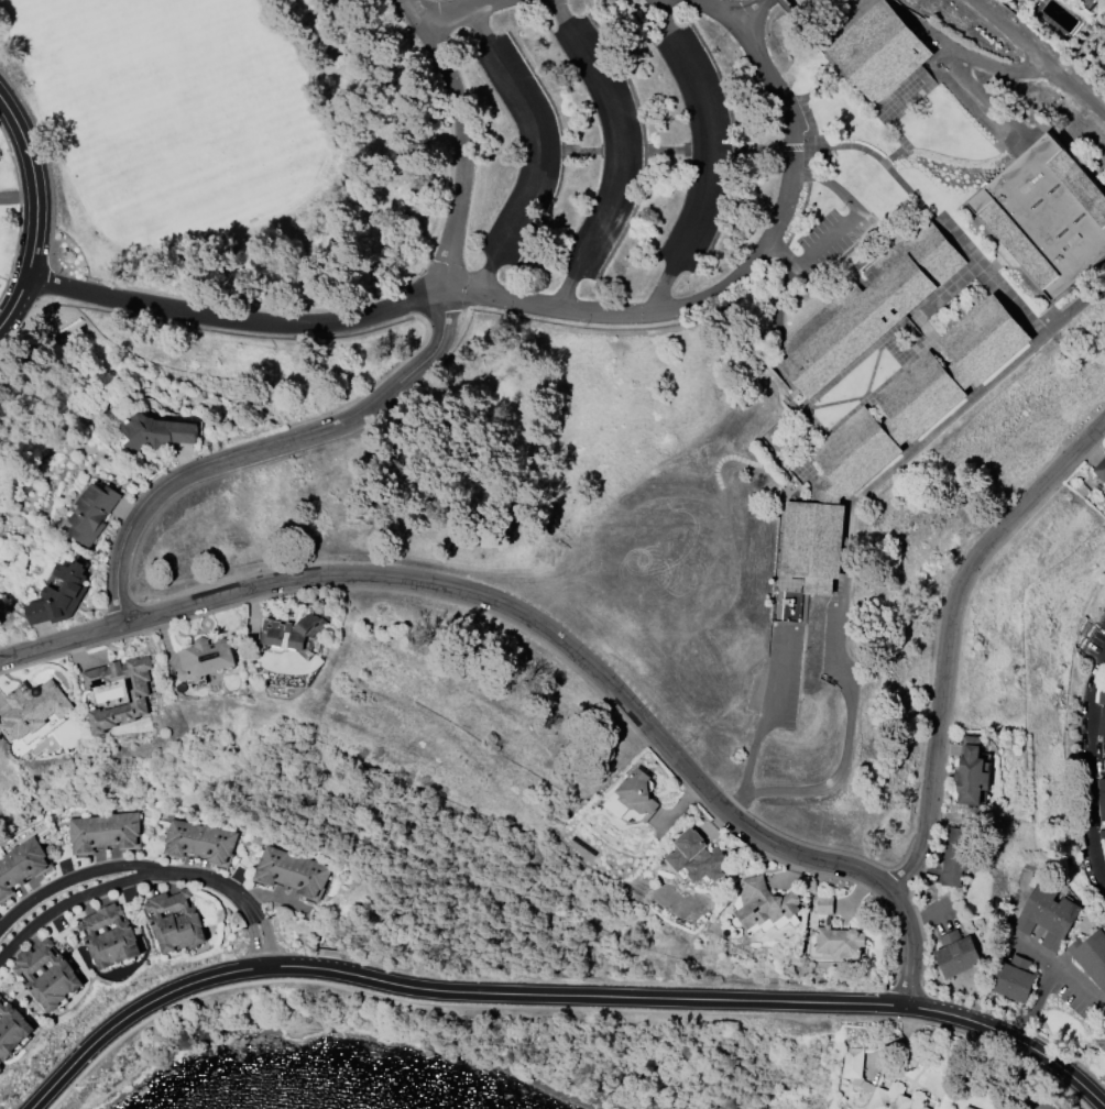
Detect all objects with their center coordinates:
building: (1086, 2)
road: (715, 9)
road: (750, 9)
road: (466, 10)
road: (419, 12)
building: (879, 50)
road: (1039, 57)
road: (540, 151)
road: (620, 156)
road: (713, 157)
road: (466, 158)
road: (34, 184)
road: (20, 212)
building: (1047, 215)
road: (844, 220)
road: (991, 279)
road: (15, 301)
building: (869, 306)
road: (526, 308)
building: (156, 431)
building: (891, 435)
road: (261, 450)
building: (1101, 469)
building: (92, 512)
road: (850, 534)
building: (61, 594)
road: (490, 600)
building: (1104, 608)
building: (1103, 623)
building: (292, 634)
building: (205, 657)
building: (1102, 692)
building: (136, 694)
road: (941, 694)
building: (33, 706)
road: (762, 713)
building: (1102, 725)
road: (1087, 769)
building: (971, 770)
building: (633, 795)
building: (1101, 797)
building: (105, 831)
building: (1102, 833)
building: (199, 841)
building: (955, 854)
building: (696, 855)
building: (21, 865)
building: (291, 871)
road: (214, 880)
road: (70, 900)
building: (763, 902)
building: (1047, 914)
building: (175, 920)
building: (836, 933)
building: (109, 936)
road: (263, 943)
building: (956, 953)
building: (1091, 956)
building: (47, 975)
building: (1013, 978)
road: (557, 995)
building: (0, 996)
road: (420, 1003)
road: (1040, 1007)
building: (12, 1029)
road: (973, 1034)
building: (1101, 1040)
building: (880, 1086)
building: (967, 1107)
building: (1057, 1108)

